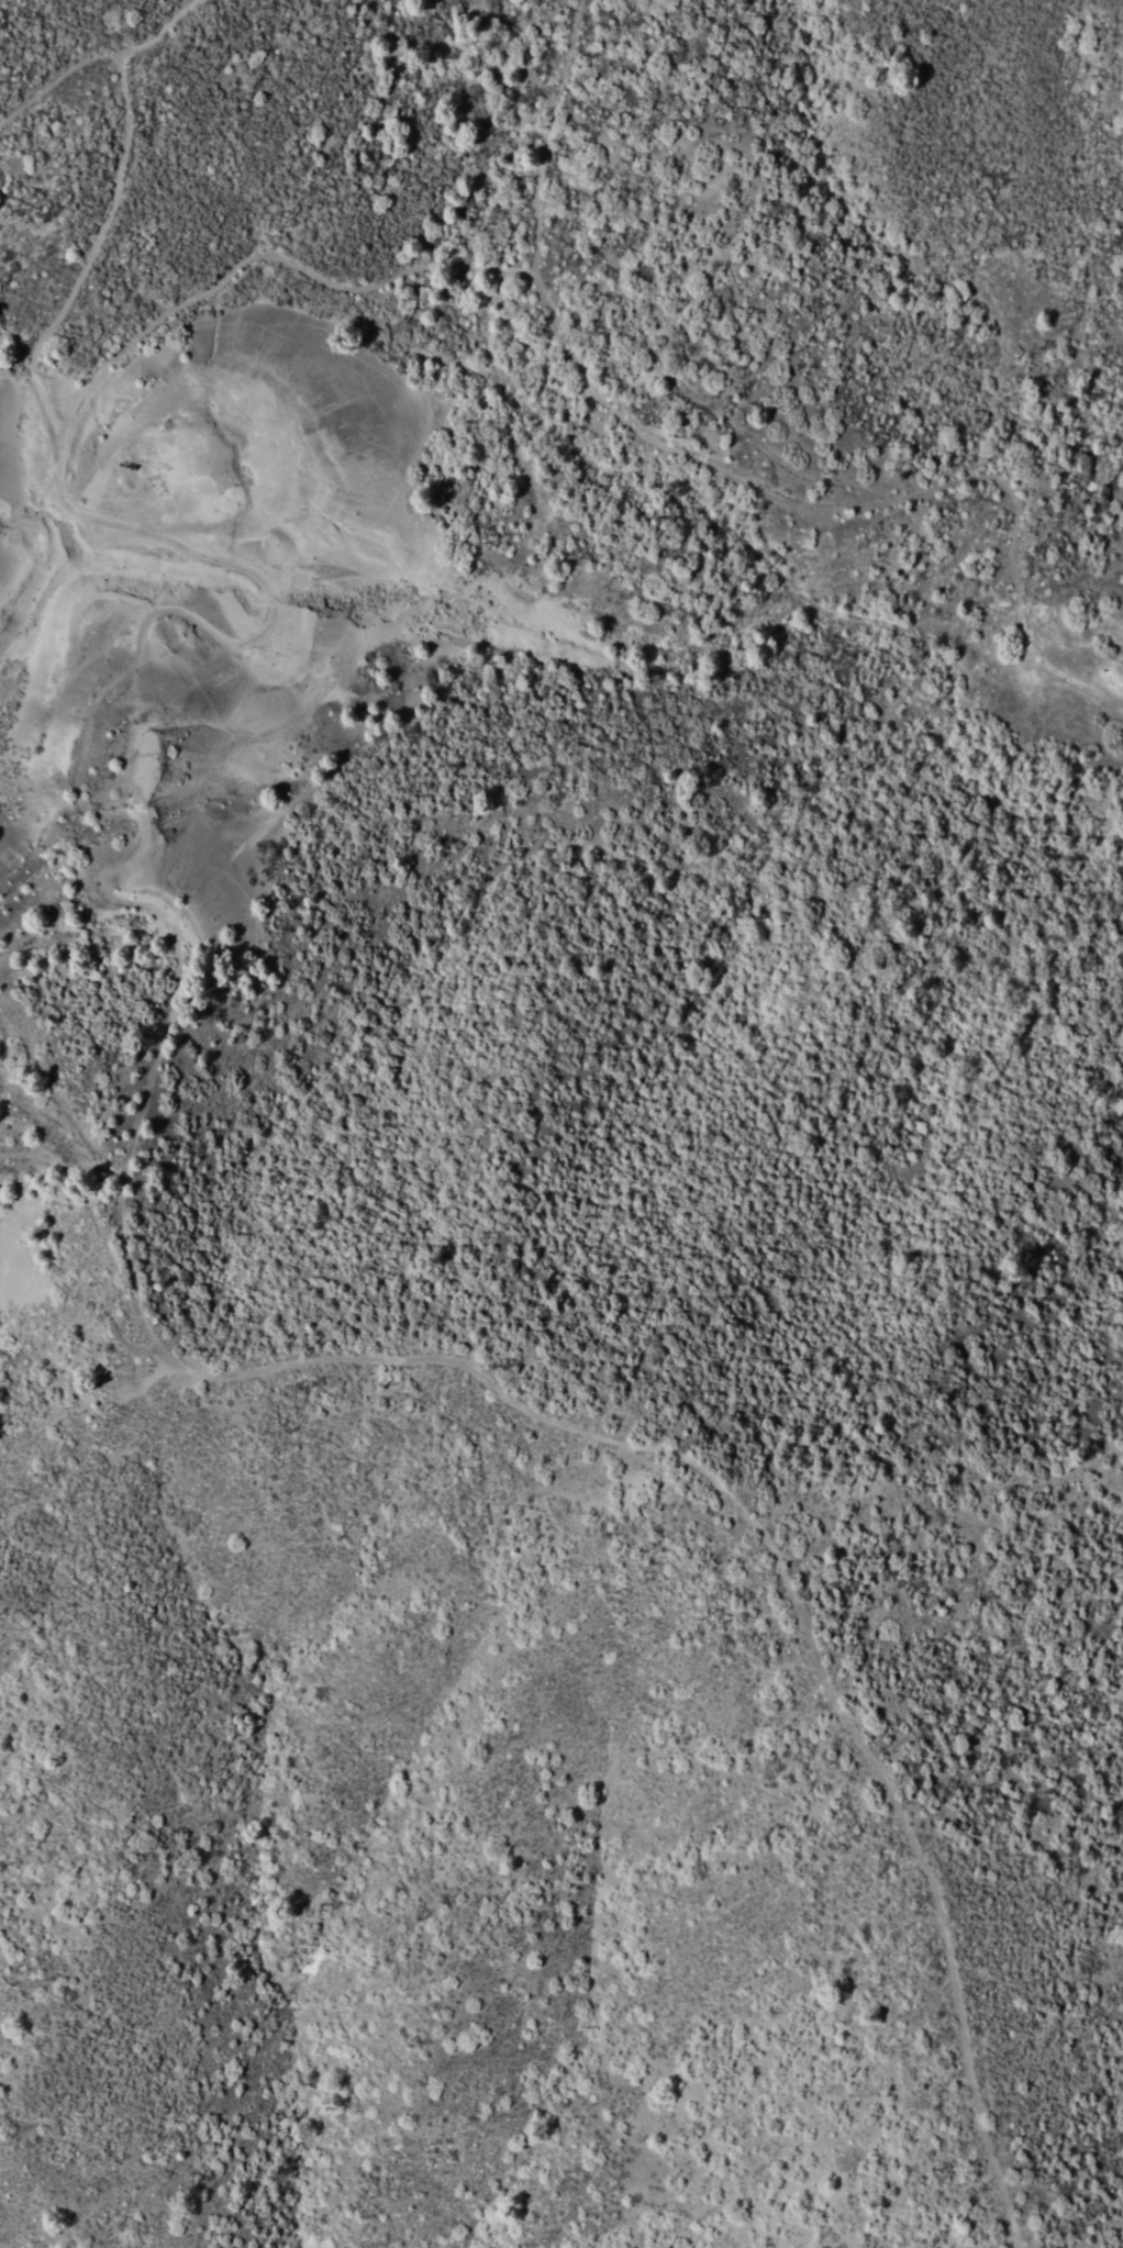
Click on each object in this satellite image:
quarry: (211, 593)
quarry: (12, 1289)
road: (699, 1473)

